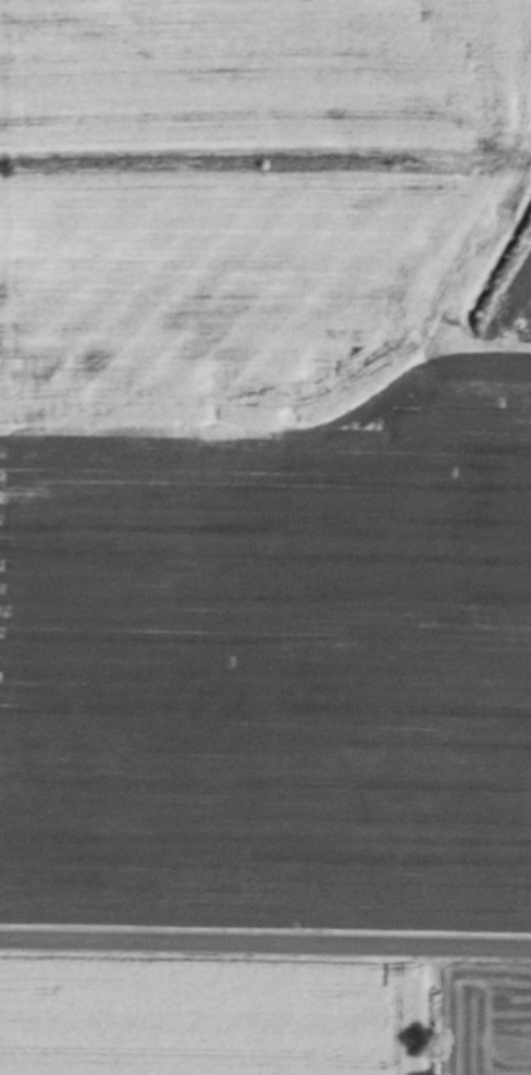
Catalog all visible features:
crop: (265, 456)
road: (265, 949)

